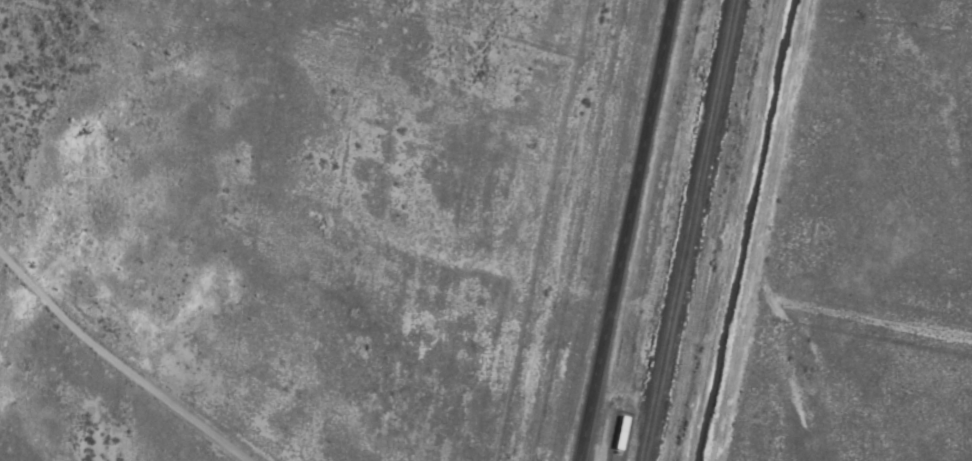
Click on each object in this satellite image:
road: (623, 230)
railway: (685, 230)
road: (732, 230)
road: (758, 230)
road: (119, 361)
building: (618, 435)

